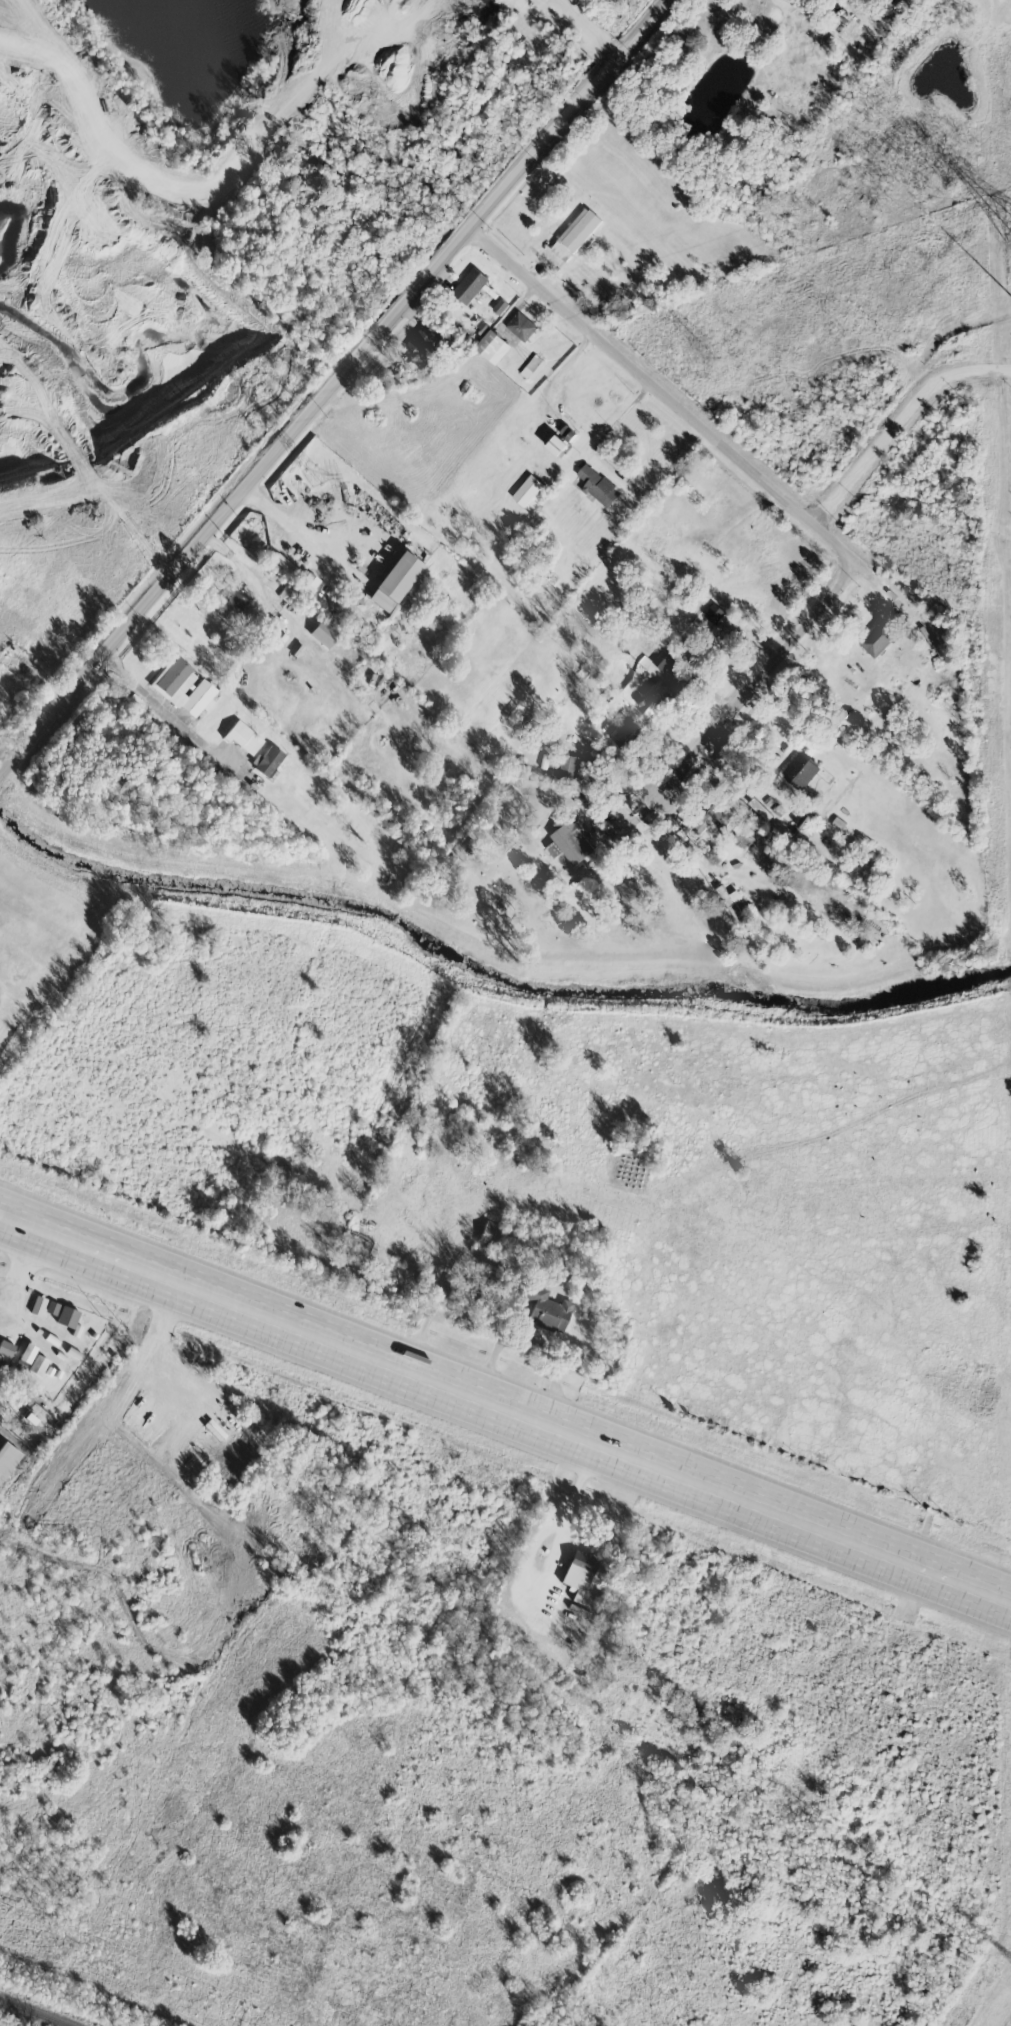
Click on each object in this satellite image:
road: (586, 30)
building: (575, 234)
building: (469, 285)
building: (520, 326)
building: (424, 338)
building: (492, 346)
power tower: (706, 347)
building: (532, 367)
road: (337, 385)
road: (660, 399)
road: (896, 421)
building: (561, 439)
road: (611, 468)
power tower: (313, 475)
building: (597, 486)
building: (527, 490)
road: (106, 495)
road: (301, 533)
building: (395, 581)
road: (886, 596)
building: (233, 607)
building: (713, 613)
building: (727, 624)
building: (324, 633)
building: (878, 639)
building: (662, 659)
building: (184, 688)
building: (665, 692)
road: (751, 693)
road: (161, 705)
building: (627, 736)
building: (244, 737)
building: (267, 760)
building: (568, 768)
building: (799, 770)
road: (2, 772)
road: (138, 772)
road: (592, 796)
building: (760, 809)
building: (721, 812)
building: (800, 819)
building: (744, 836)
building: (571, 840)
building: (629, 890)
building: (490, 1235)
road: (23, 1264)
building: (20, 1298)
building: (38, 1305)
building: (546, 1311)
building: (67, 1317)
building: (4, 1326)
building: (54, 1341)
building: (6, 1348)
road: (112, 1348)
building: (27, 1353)
building: (1, 1361)
building: (38, 1365)
road: (505, 1413)
building: (6, 1456)
building: (578, 1572)
power tower: (65, 1948)
railway: (35, 2012)

